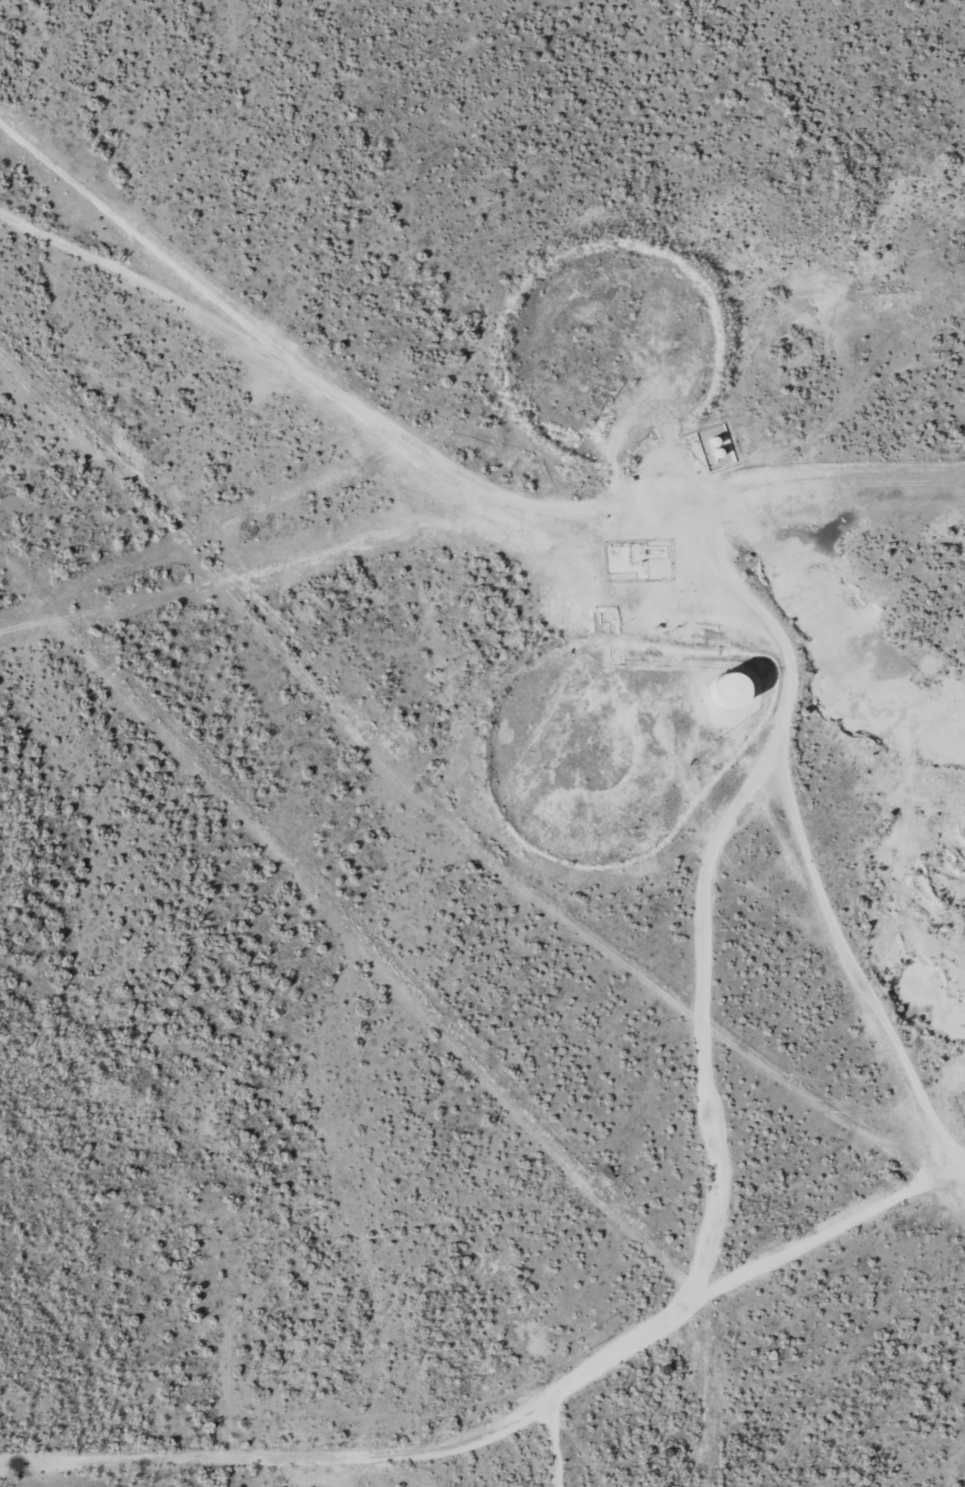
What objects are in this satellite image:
building: (717, 445)
road: (843, 482)
building: (736, 687)
road: (827, 791)
road: (510, 1419)

